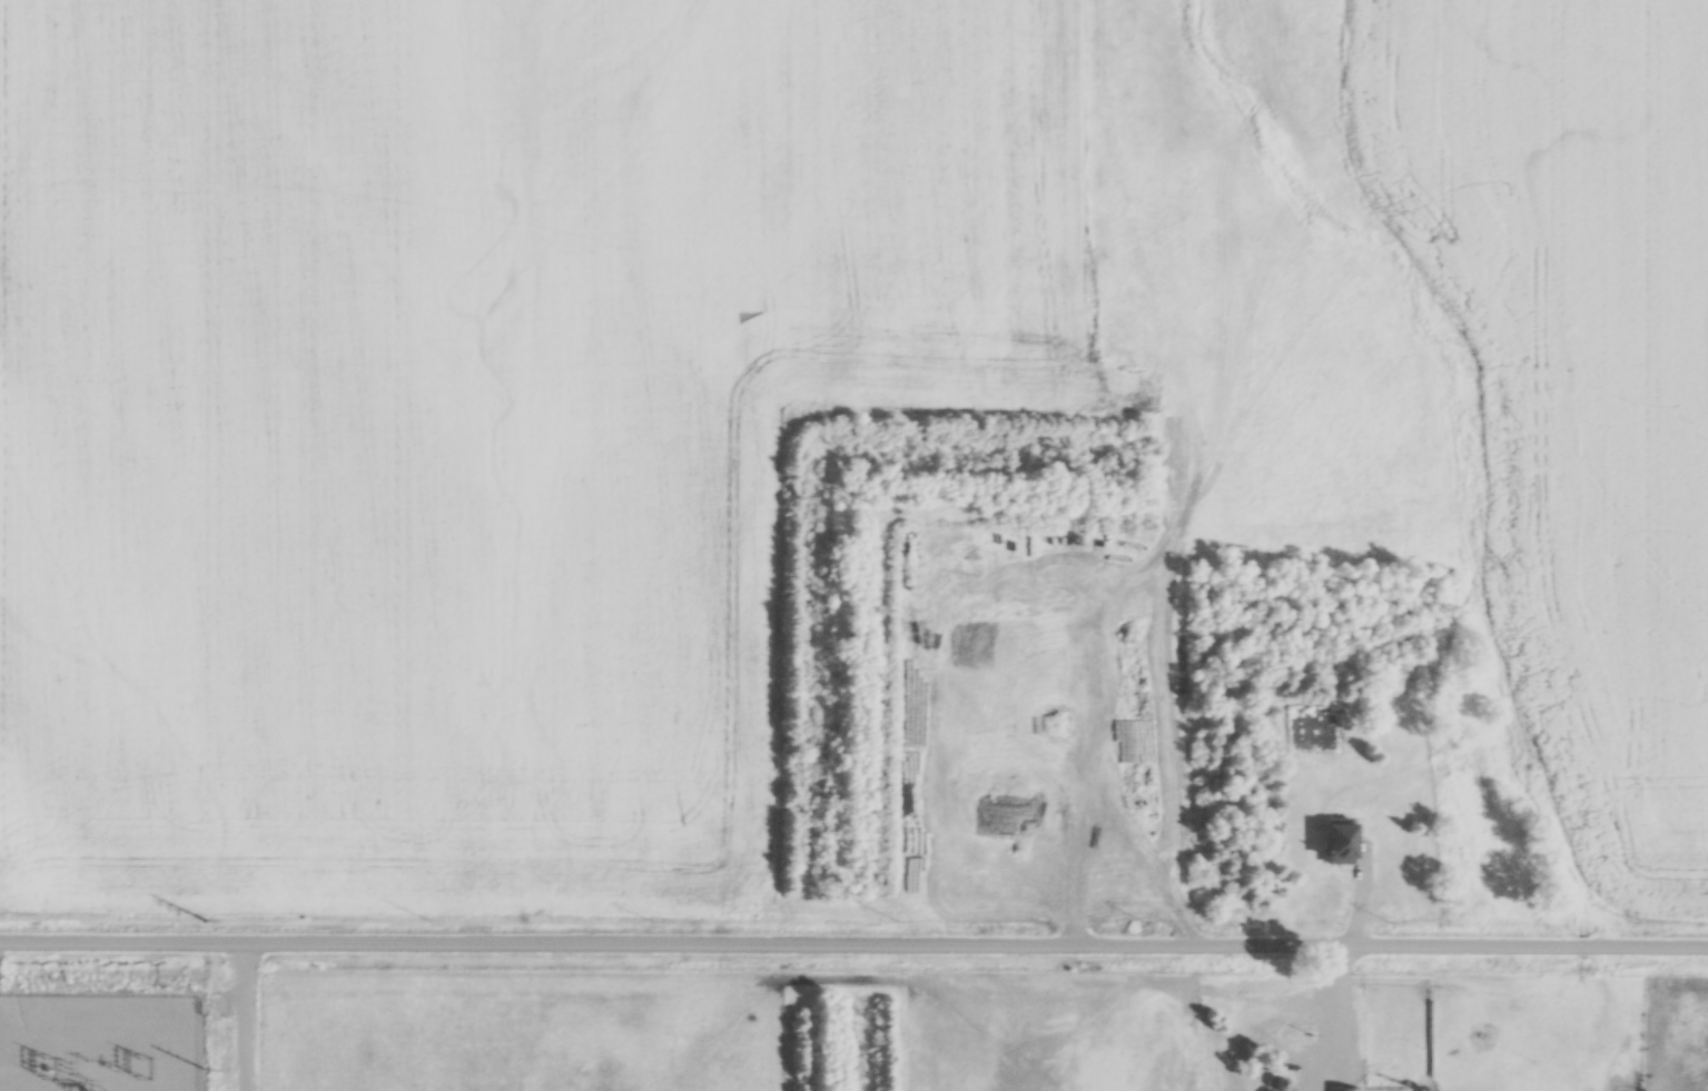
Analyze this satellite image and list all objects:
building: (909, 758)
building: (910, 803)
building: (1337, 843)
building: (911, 862)
building: (950, 862)
road: (853, 939)
power substation: (98, 1043)
building: (1336, 1090)

